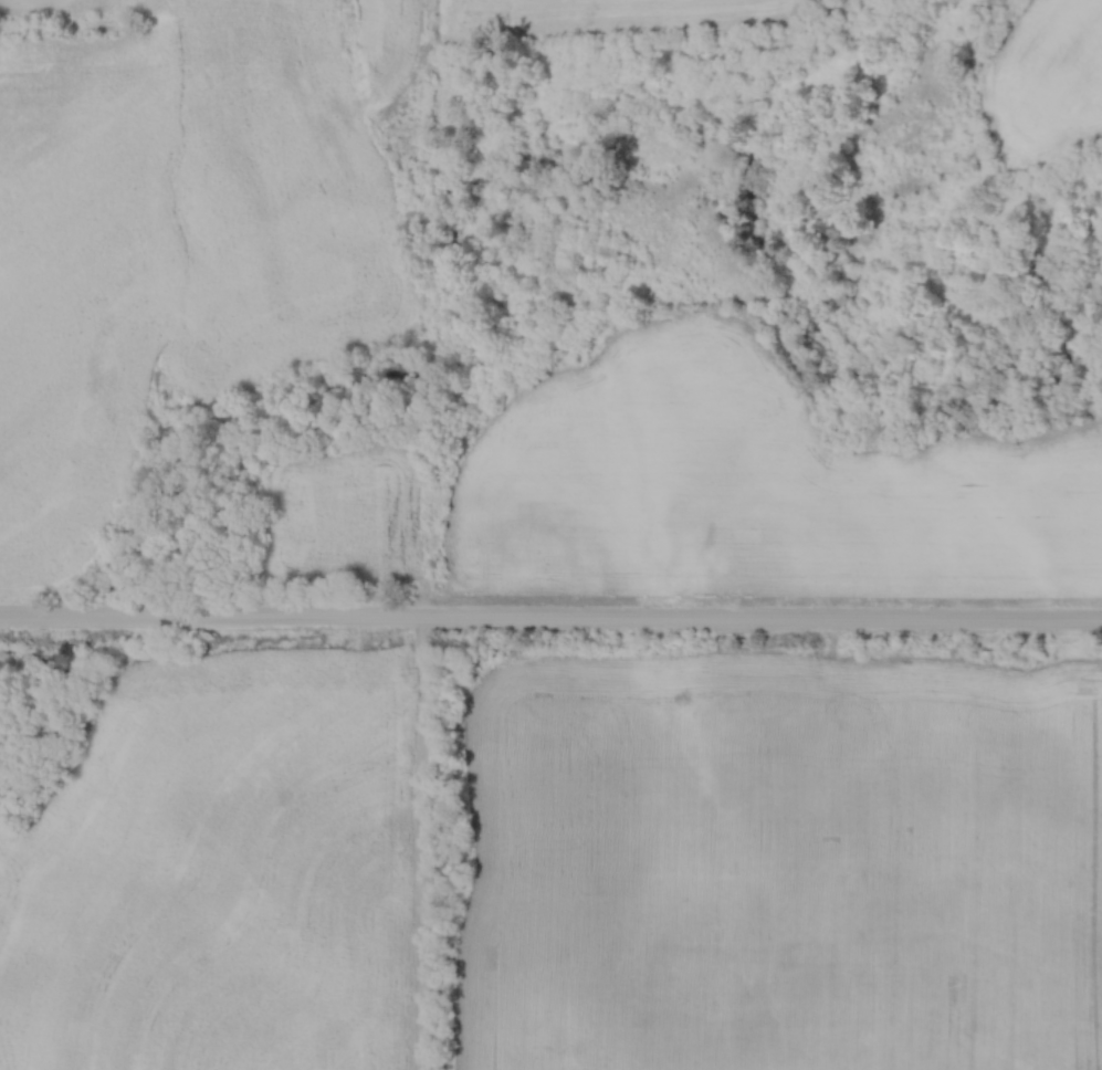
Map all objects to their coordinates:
road: (550, 622)

